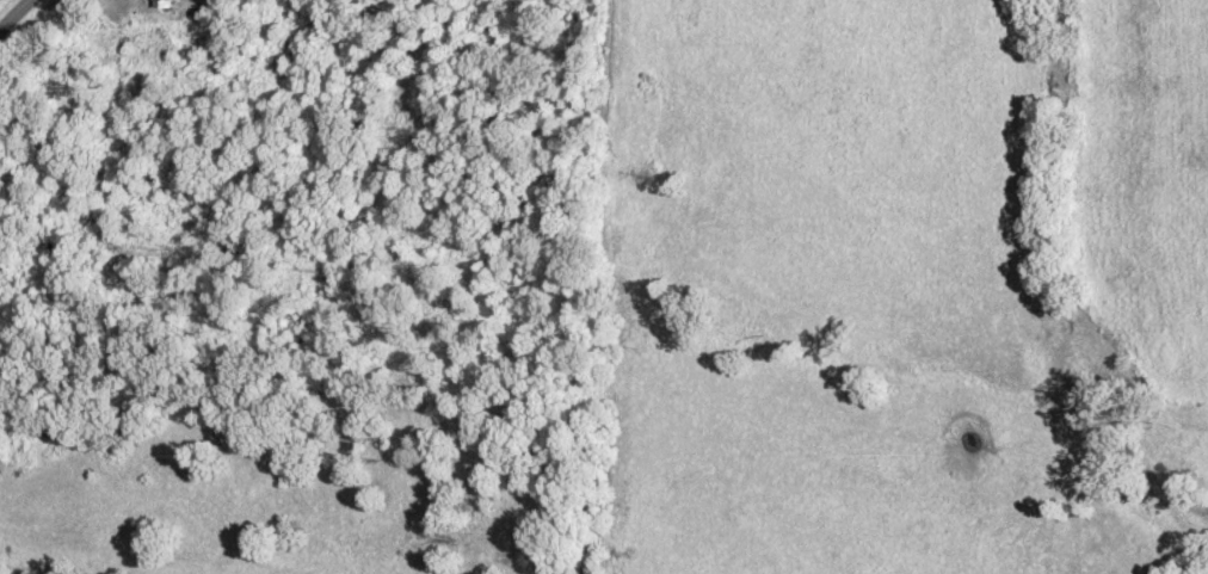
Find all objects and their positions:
road: (11, 11)

